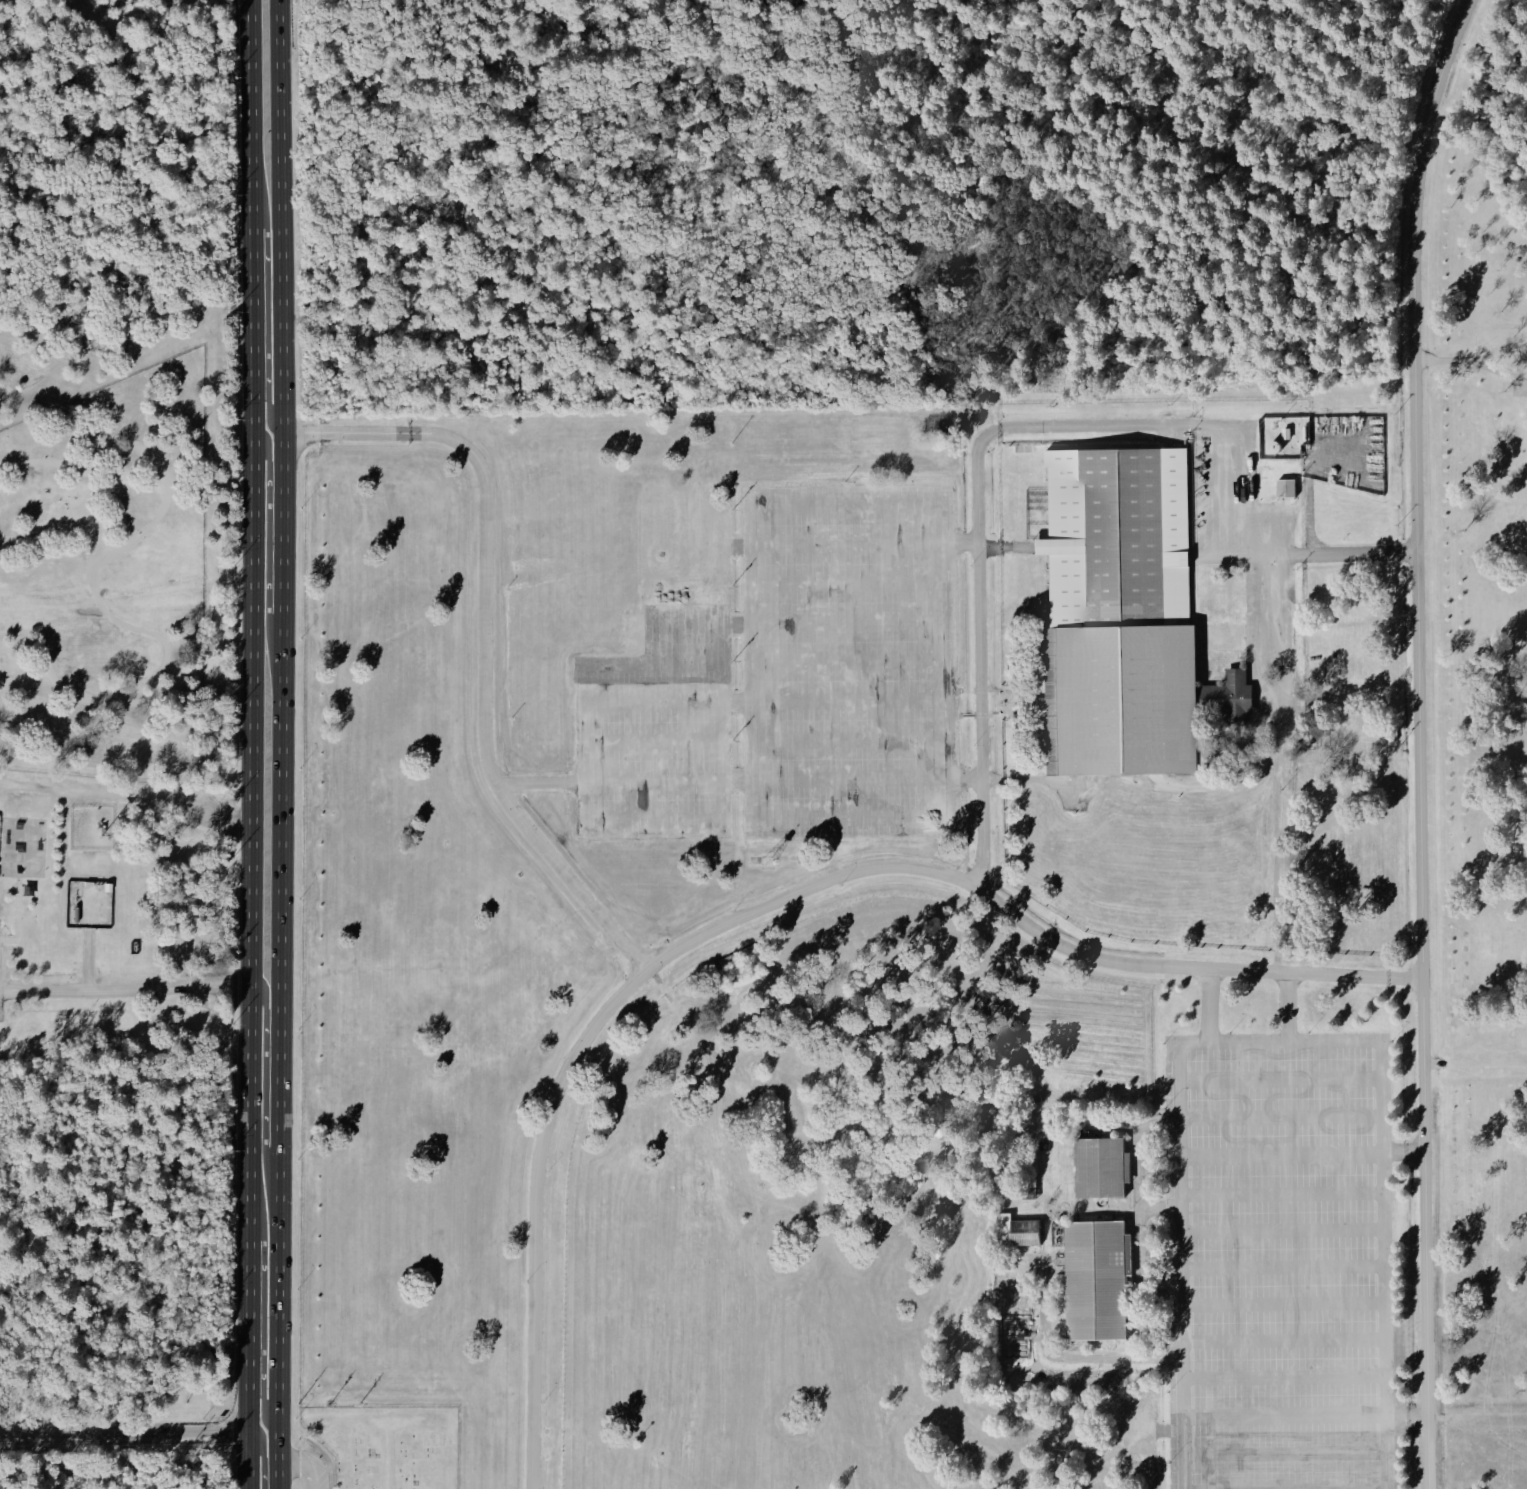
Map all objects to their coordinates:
road: (1474, 363)
road: (1168, 425)
building: (1313, 427)
building: (1350, 427)
building: (1286, 433)
building: (878, 436)
road: (921, 447)
building: (1368, 452)
building: (941, 456)
building: (1305, 456)
road: (1307, 476)
road: (879, 478)
building: (1285, 487)
road: (1286, 504)
road: (1212, 509)
road: (1182, 510)
building: (1115, 536)
road: (1035, 540)
parking lot: (1246, 541)
road: (1007, 542)
road: (684, 544)
road: (733, 544)
road: (844, 544)
road: (749, 547)
road: (1349, 553)
road: (91, 582)
road: (845, 583)
road: (685, 584)
road: (1224, 591)
road: (1278, 593)
road: (251, 612)
road: (845, 622)
road: (685, 623)
road: (734, 623)
road: (487, 624)
building: (1219, 635)
parking lot: (848, 659)
road: (677, 662)
road: (846, 662)
parking lot: (662, 687)
road: (981, 689)
road: (958, 690)
road: (1016, 693)
building: (1119, 698)
building: (1228, 698)
road: (652, 701)
road: (846, 701)
road: (736, 702)
road: (1008, 714)
road: (958, 715)
road: (981, 715)
road: (721, 723)
road: (1215, 736)
park: (914, 738)
road: (652, 739)
road: (847, 739)
road: (1423, 740)
road: (278, 744)
building: (1235, 744)
road: (539, 778)
road: (653, 778)
road: (847, 778)
road: (737, 779)
road: (1127, 782)
road: (1111, 792)
road: (128, 793)
road: (774, 857)
water tower: (768, 860)
park: (114, 879)
street lamp: (840, 884)
road: (472, 885)
building: (106, 886)
building: (27, 889)
road: (768, 905)
street lamp: (734, 909)
road: (14, 916)
road: (537, 930)
road: (85, 962)
road: (661, 983)
street lamp: (646, 984)
road: (742, 984)
road: (723, 987)
road: (125, 991)
road: (1209, 1007)
road: (1288, 1008)
street lamp: (1228, 1031)
street lamp: (1308, 1031)
road: (1145, 1039)
street lamp: (1393, 1042)
street lamp: (1162, 1044)
road: (1280, 1045)
street lamp: (562, 1058)
road: (1476, 1061)
road: (1280, 1079)
road: (1084, 1106)
street lamp: (1162, 1109)
road: (1281, 1116)
crop: (644, 1122)
road: (1404, 1151)
road: (1281, 1153)
building: (1100, 1166)
road: (1154, 1170)
street lamp: (548, 1171)
road: (1131, 1175)
street lamp: (1394, 1175)
road: (1282, 1192)
building: (1029, 1193)
road: (1042, 1203)
building: (1003, 1204)
road: (746, 1208)
road: (1093, 1208)
road: (1113, 1208)
road: (1159, 1208)
road: (1138, 1211)
road: (1049, 1213)
road: (1283, 1229)
building: (1024, 1231)
road: (723, 1244)
street lamp: (1395, 1248)
street lamp: (1165, 1251)
road: (1031, 1255)
road: (1156, 1256)
parking lot: (1279, 1261)
road: (1033, 1265)
road: (1283, 1266)
road: (899, 1271)
building: (1096, 1278)
street lamp: (527, 1279)
road: (250, 1292)
road: (1284, 1303)
street lamp: (1396, 1319)
road: (1001, 1335)
building: (1020, 1335)
road: (1025, 1335)
road: (1035, 1336)
road: (1284, 1337)
road: (1068, 1361)
road: (1285, 1375)
road: (260, 1390)
street lamp: (1396, 1390)
street lamp: (1166, 1391)
street lamp: (543, 1400)
road: (1286, 1415)
road: (1408, 1415)
road: (1478, 1416)
road: (248, 1423)
road: (1166, 1428)
road: (126, 1429)
road: (2, 1431)
park: (388, 1444)
road: (1286, 1453)
road: (261, 1457)
road: (302, 1461)
road: (389, 1462)
street lamp: (1166, 1462)
street lamp: (1397, 1462)
parking lot: (312, 1471)
road: (1363, 1488)

